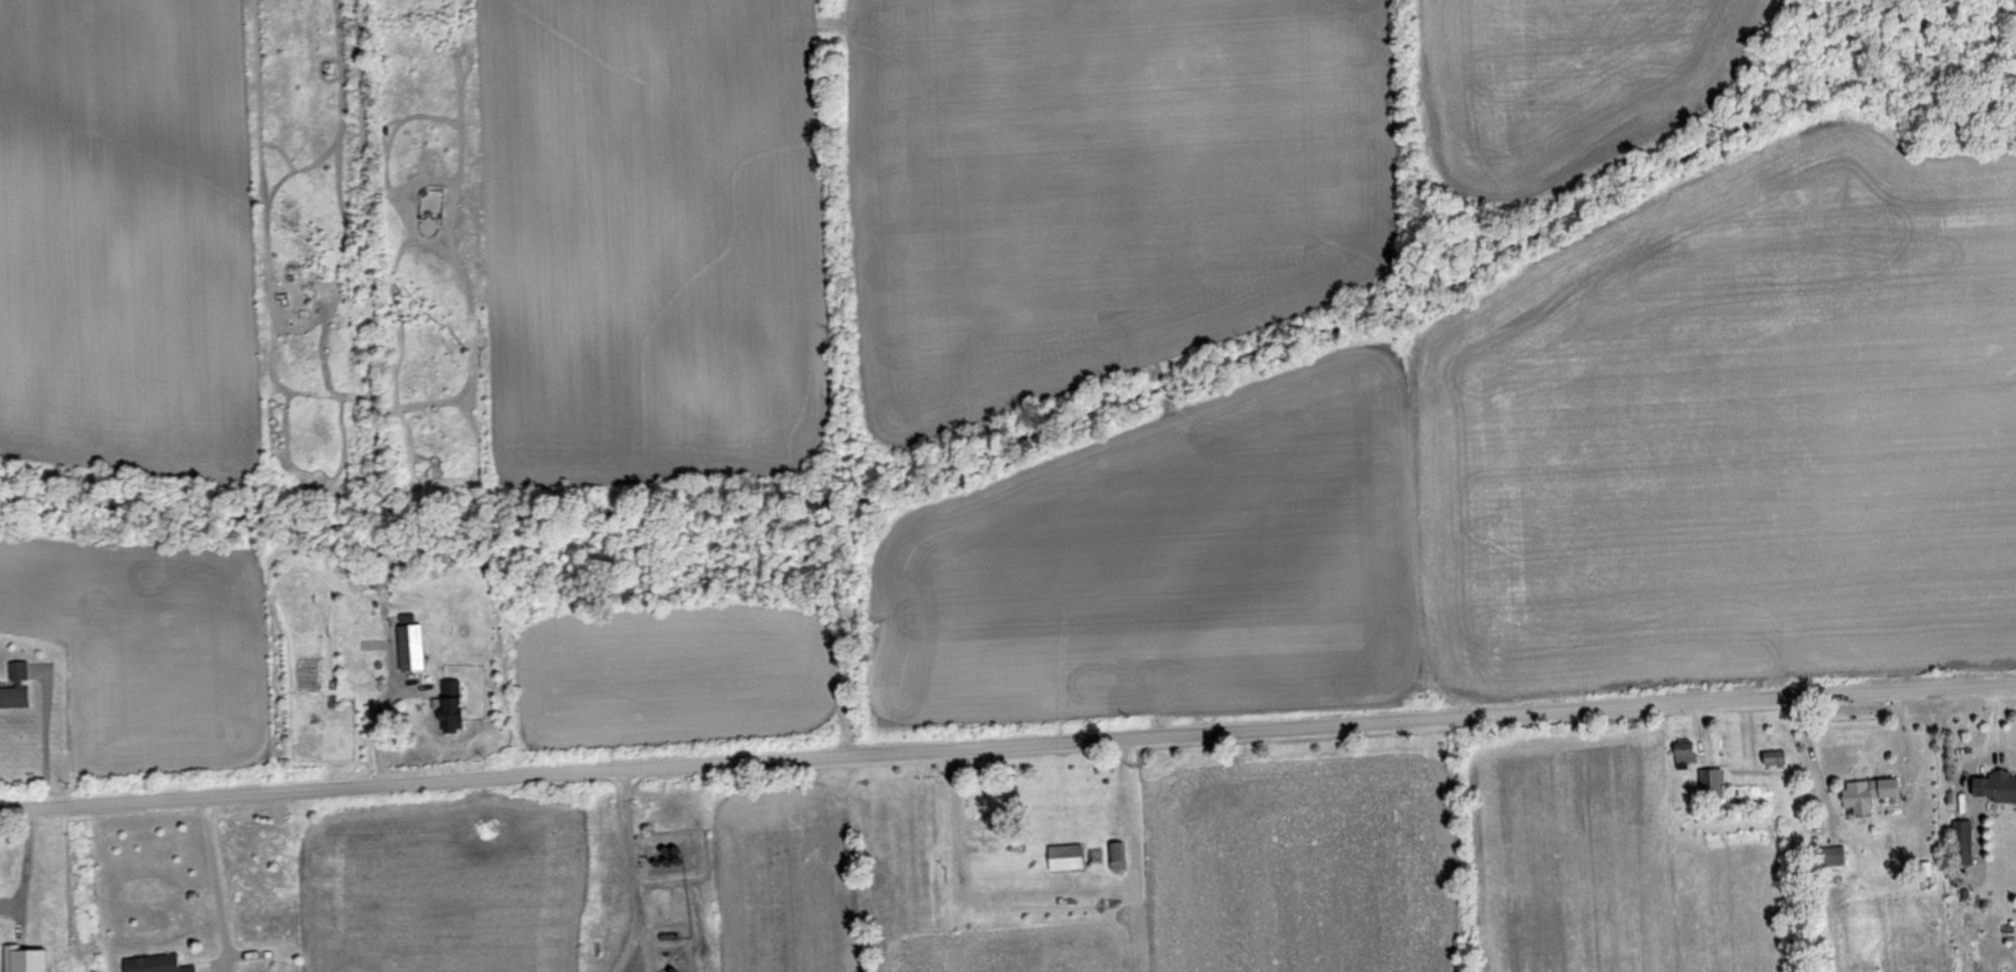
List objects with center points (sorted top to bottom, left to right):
building: (411, 646)
building: (16, 686)
building: (450, 706)
road: (1007, 746)
building: (1685, 750)
building: (1773, 756)
building: (1712, 783)
building: (2004, 786)
building: (1886, 787)
building: (1857, 799)
building: (982, 830)
building: (1117, 854)
building: (1066, 857)
road: (25, 862)
road: (629, 870)
road: (219, 893)
building: (156, 963)

